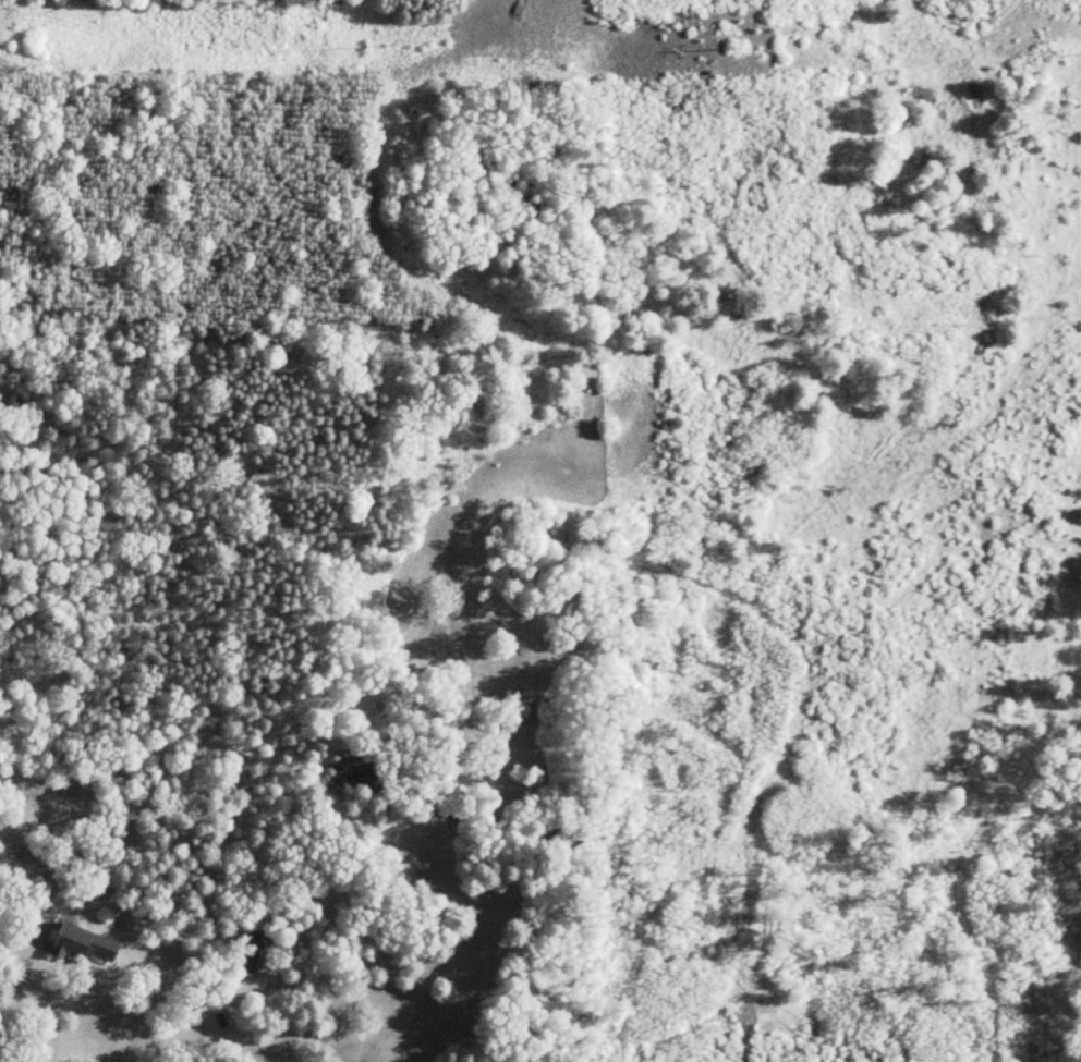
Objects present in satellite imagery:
building: (80, 942)
building: (253, 950)

